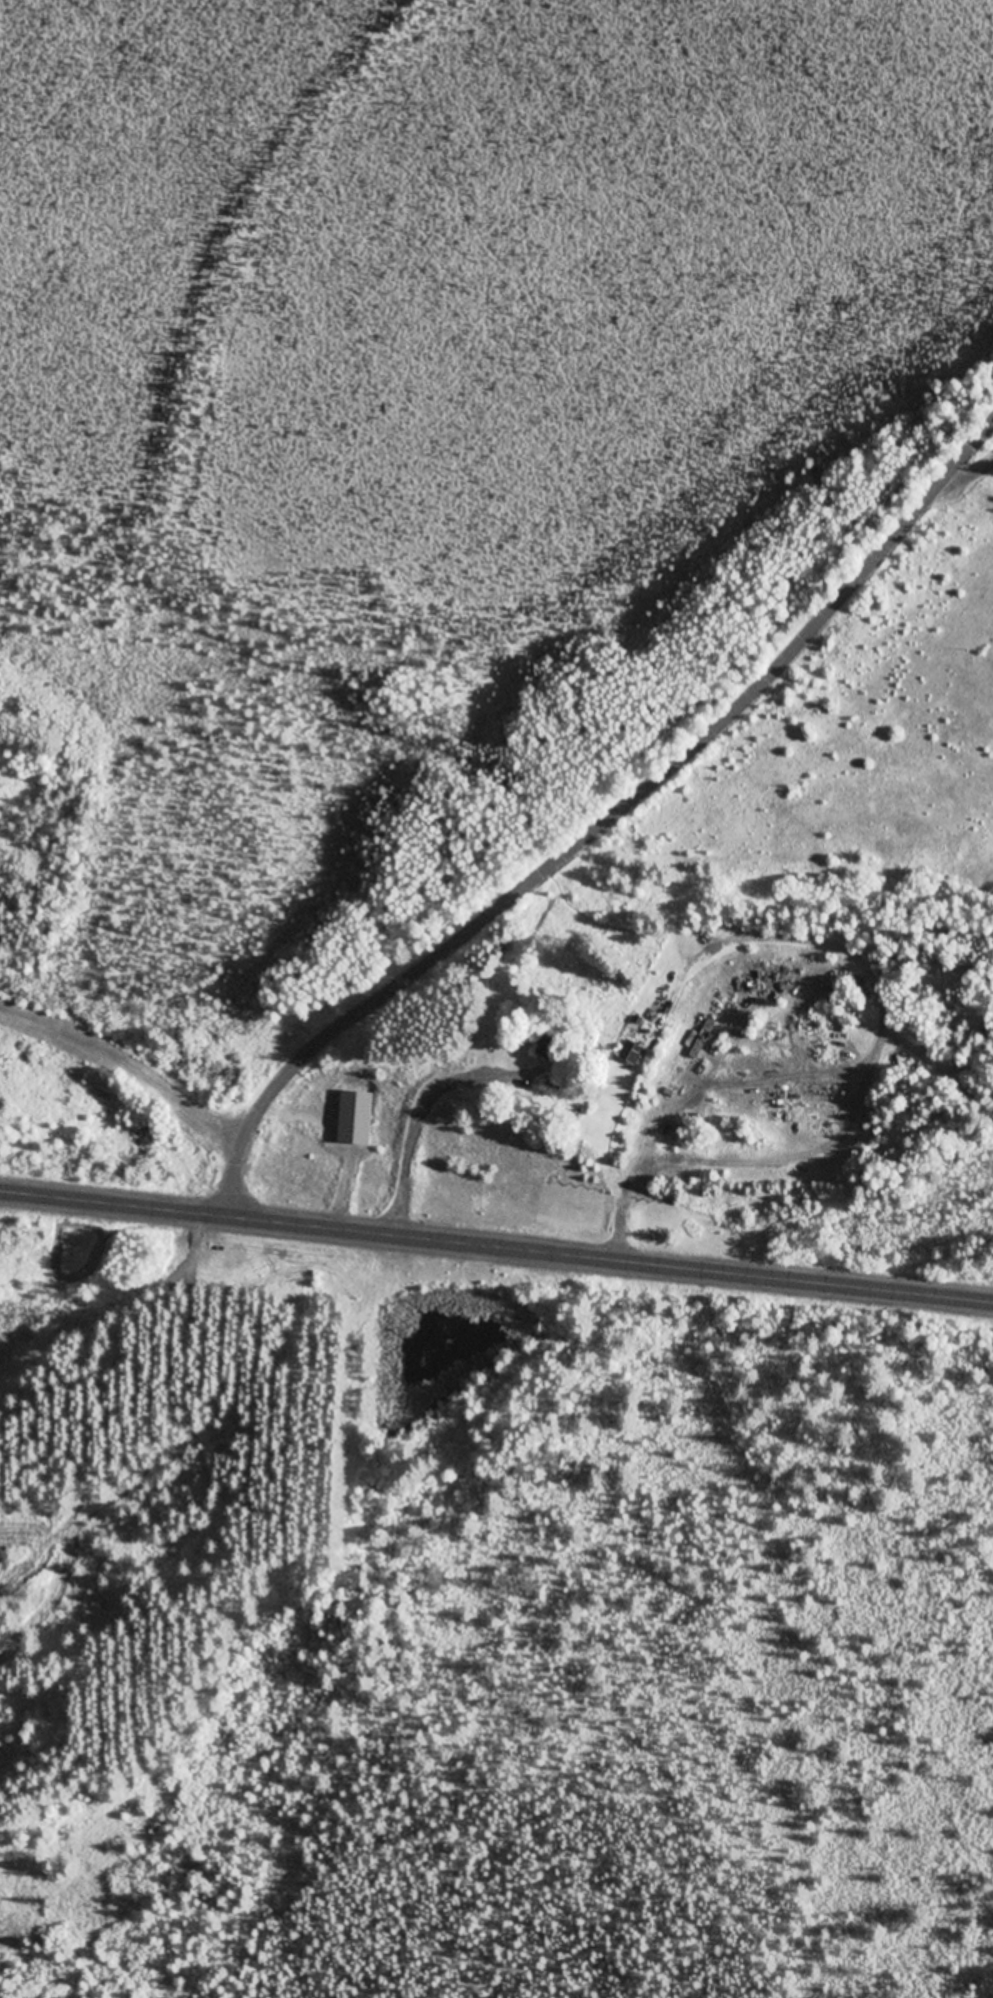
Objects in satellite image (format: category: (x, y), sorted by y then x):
road: (627, 799)
road: (428, 956)
building: (704, 1040)
building: (552, 1049)
building: (636, 1053)
building: (356, 1119)
road: (250, 1132)
road: (496, 1249)

